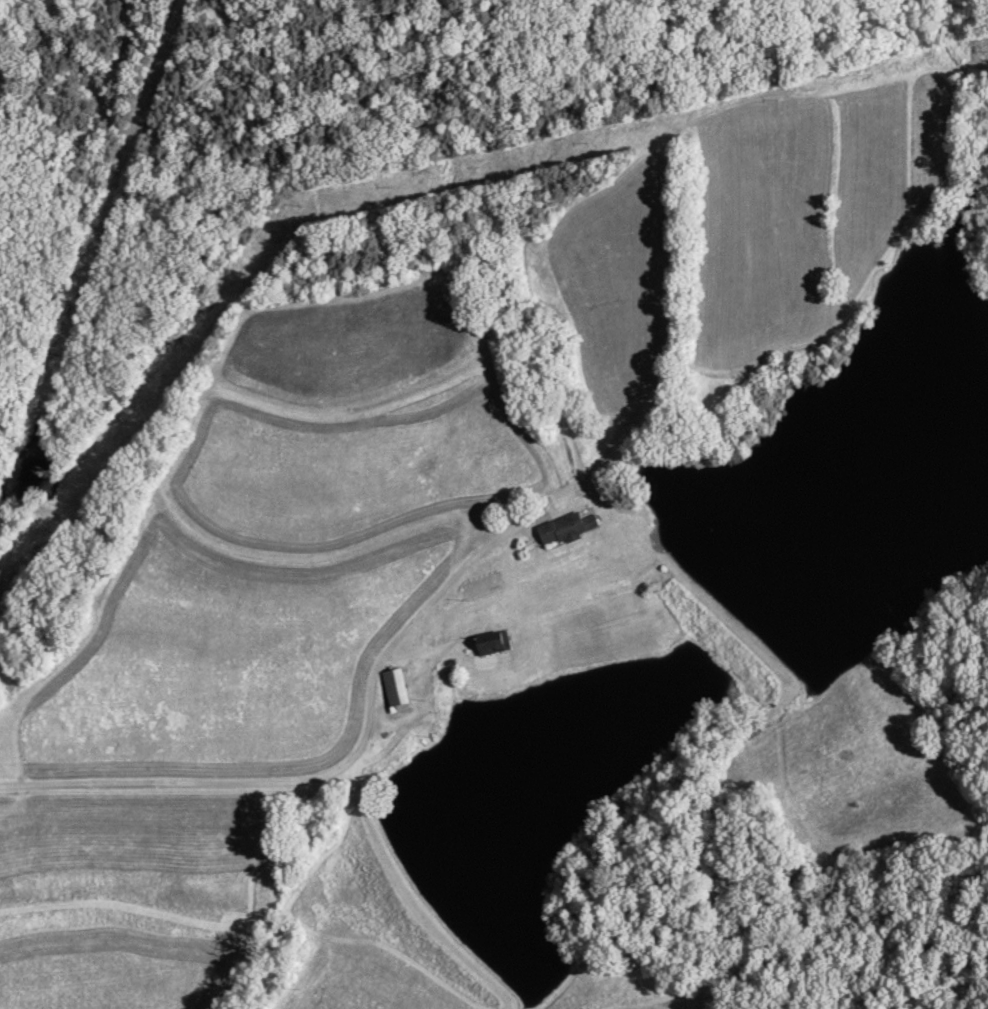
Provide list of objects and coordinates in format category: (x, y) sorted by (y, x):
building: (563, 530)
building: (488, 646)
building: (392, 693)
road: (336, 774)

